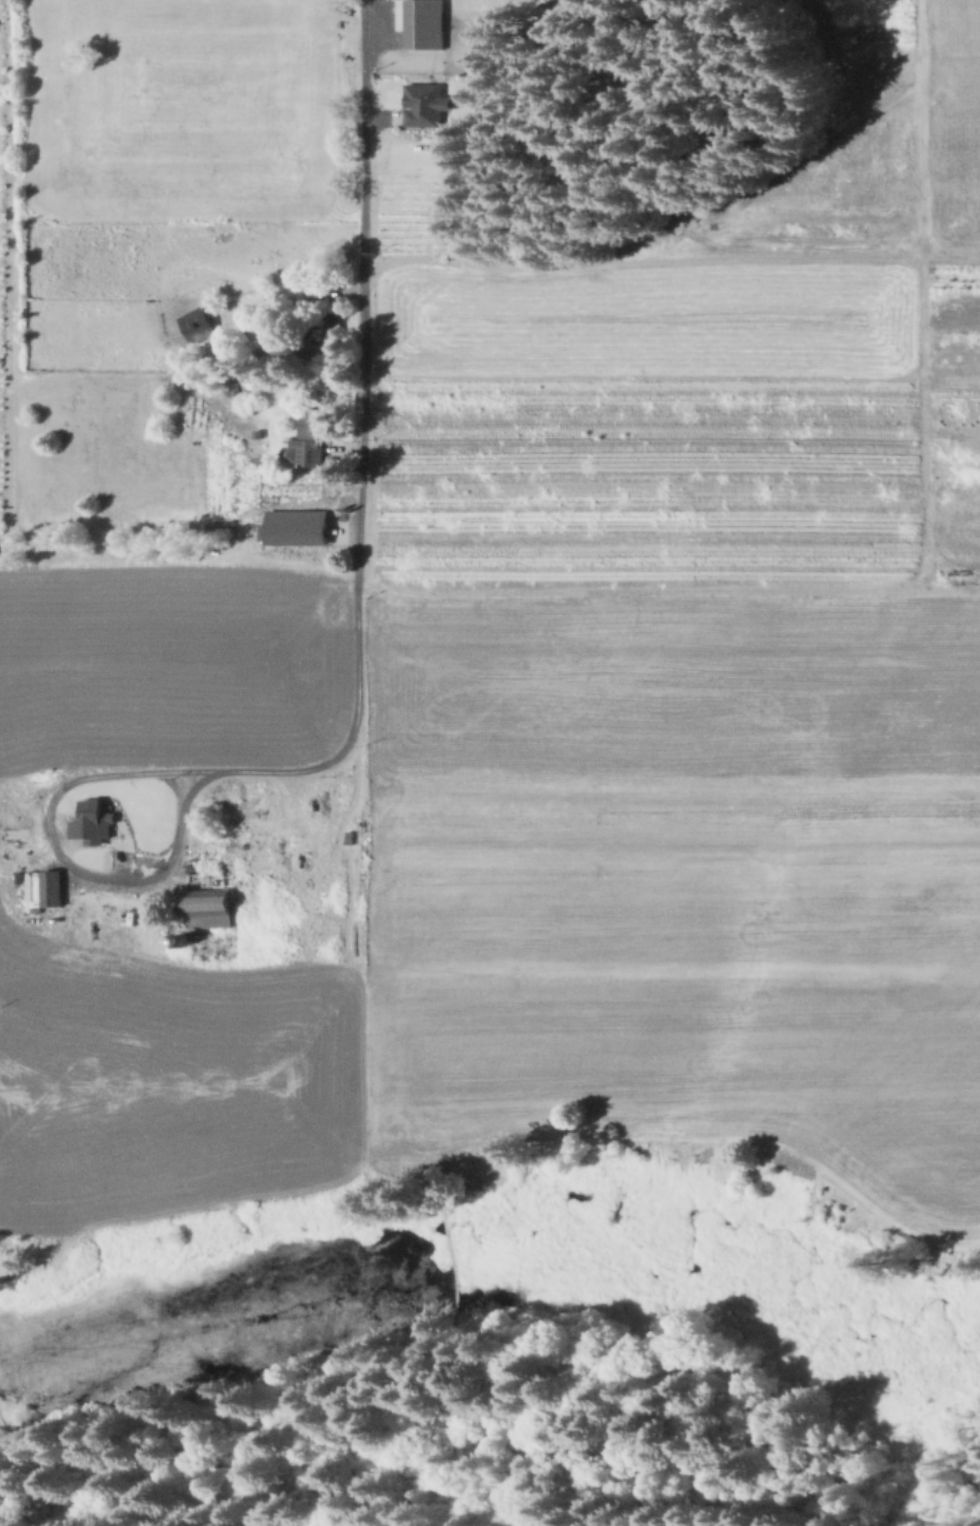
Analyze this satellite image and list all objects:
building: (424, 23)
building: (424, 103)
building: (332, 322)
building: (200, 324)
road: (363, 326)
building: (306, 350)
building: (236, 385)
building: (320, 456)
building: (300, 529)
crop: (477, 635)
road: (96, 774)
building: (93, 819)
building: (53, 889)
building: (211, 893)

